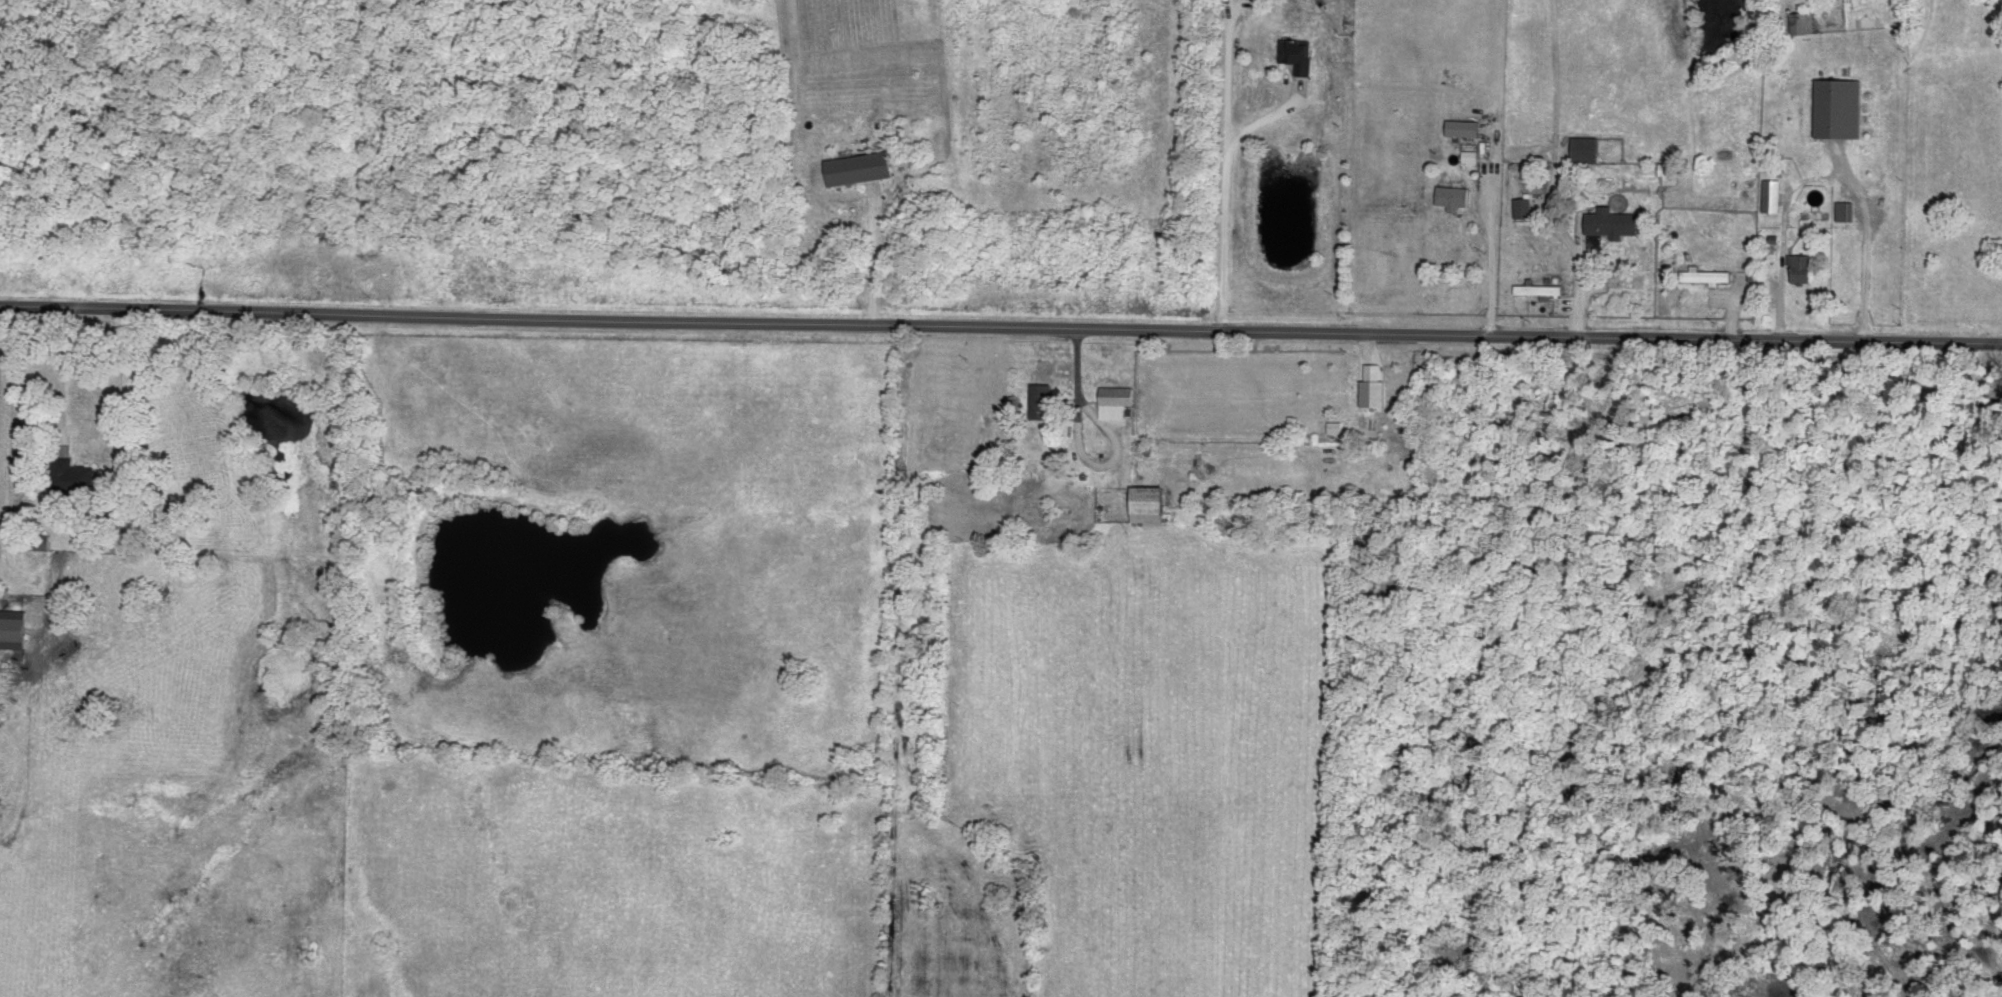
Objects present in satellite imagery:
building: (1301, 54)
building: (1840, 107)
building: (1466, 127)
building: (1587, 148)
building: (1470, 154)
building: (863, 166)
road: (1224, 171)
building: (1670, 172)
building: (1773, 194)
building: (1456, 195)
building: (1524, 206)
building: (1847, 209)
building: (1615, 222)
road: (1780, 234)
road: (1859, 243)
road: (1488, 259)
road: (873, 265)
building: (1802, 266)
building: (1706, 274)
road: (1576, 276)
building: (1540, 287)
road: (1000, 327)
building: (1374, 385)
building: (1044, 399)
building: (1117, 399)
building: (1334, 426)
road: (1077, 450)
building: (74, 476)
building: (1151, 502)
building: (16, 627)

